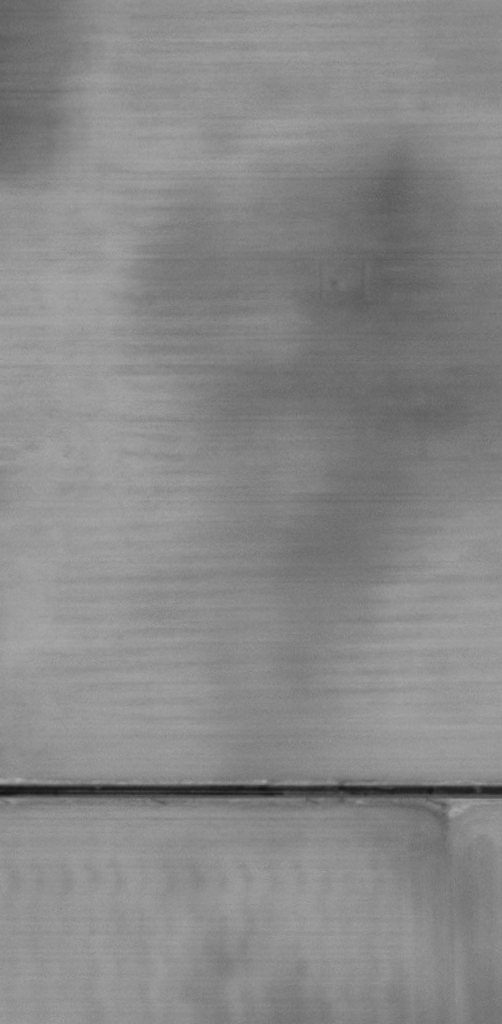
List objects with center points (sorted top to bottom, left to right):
road: (250, 791)

